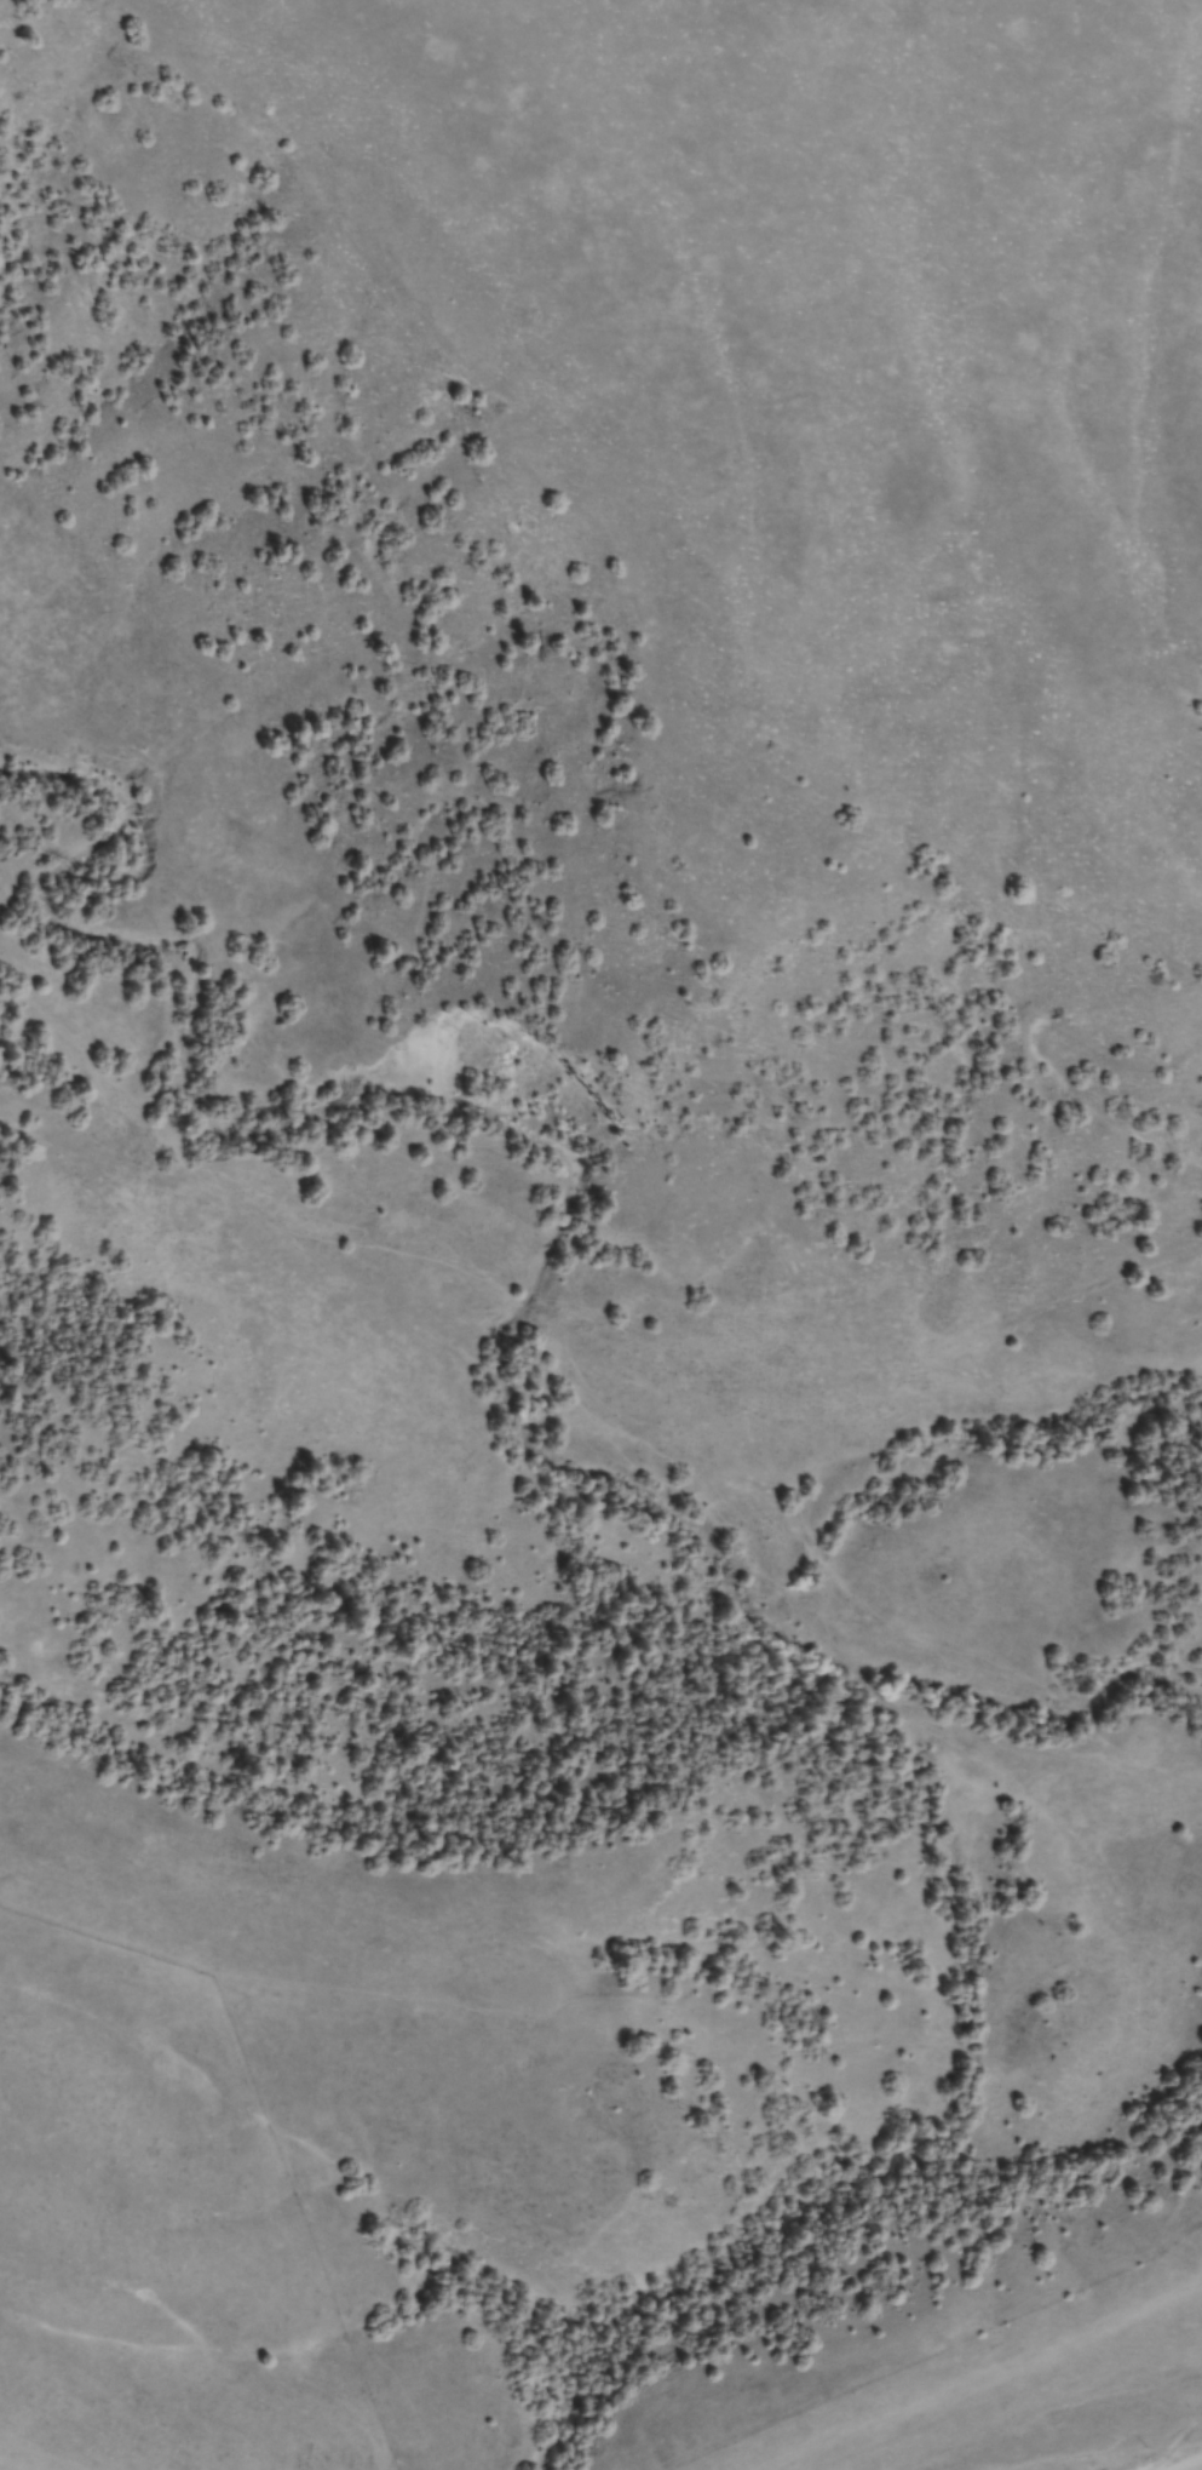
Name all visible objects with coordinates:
road: (1186, 2468)

